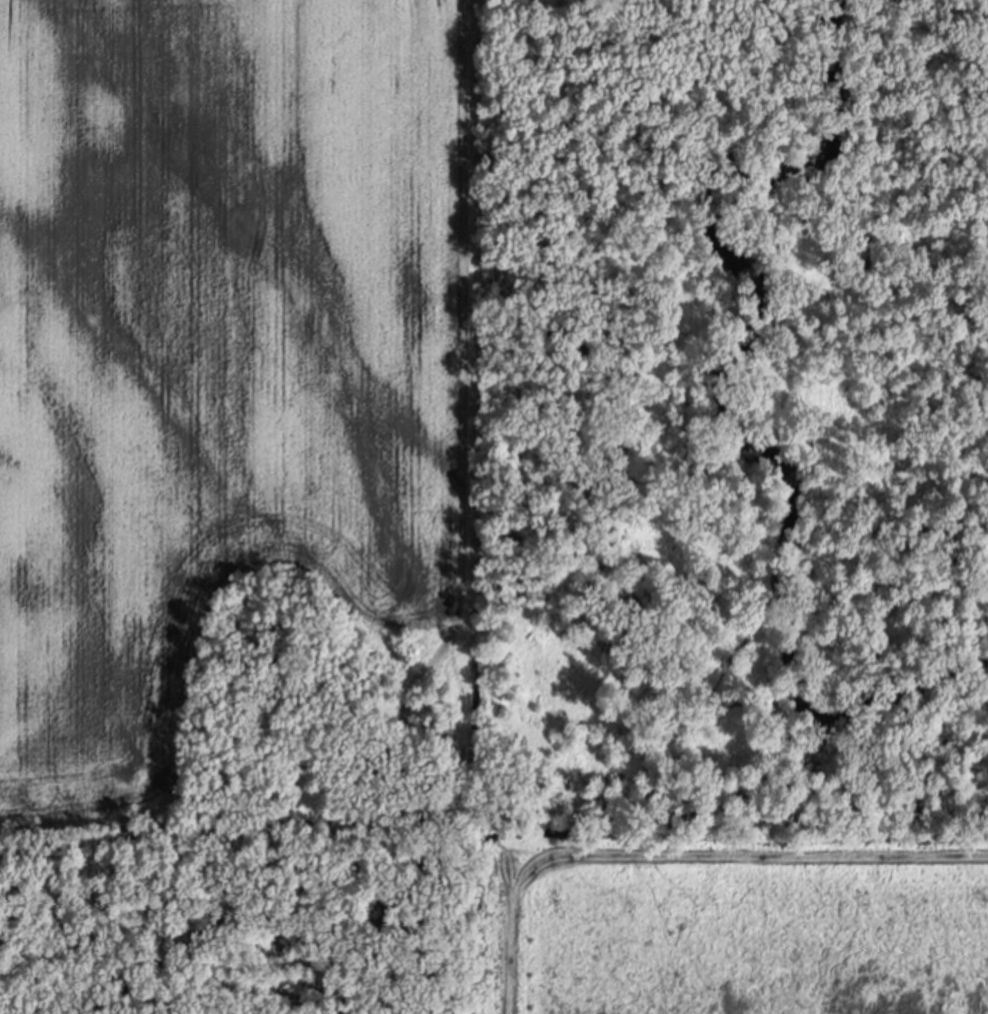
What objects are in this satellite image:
crop: (212, 347)
crop: (744, 932)

